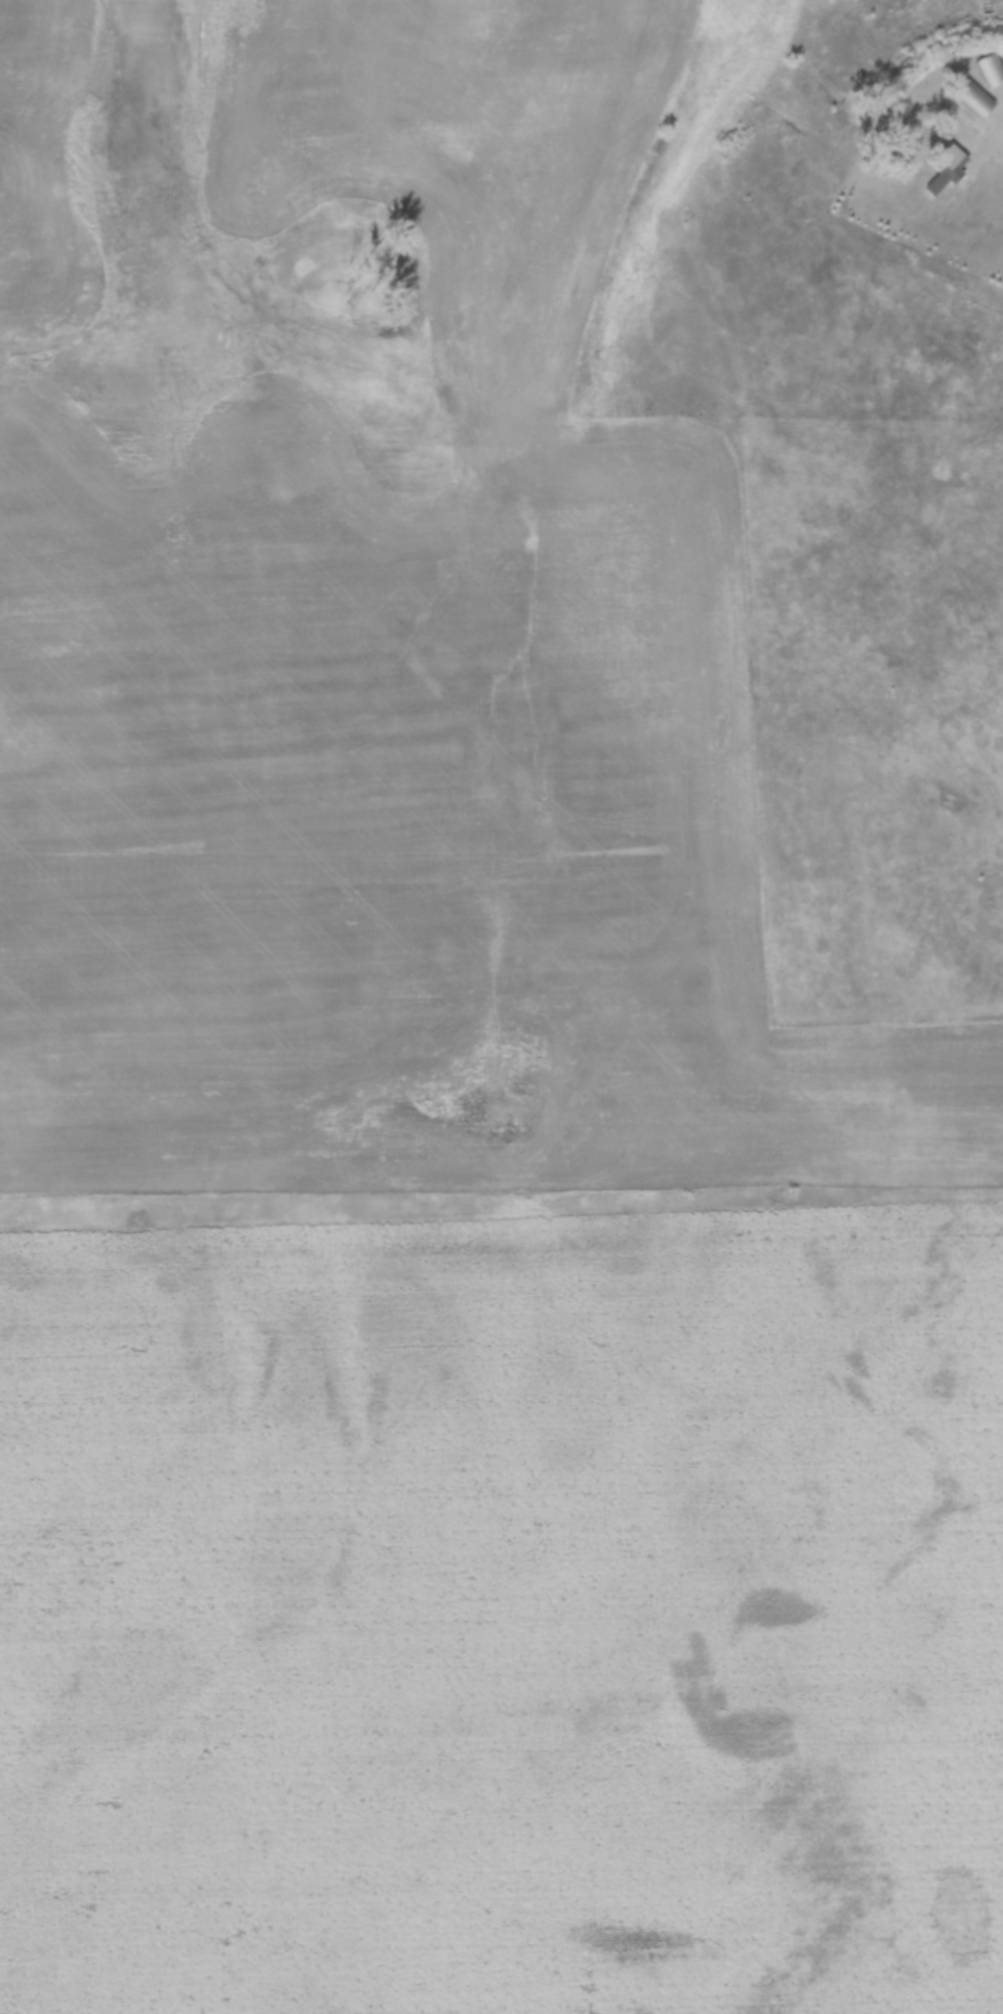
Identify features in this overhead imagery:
building: (993, 71)
building: (978, 101)
building: (945, 163)

